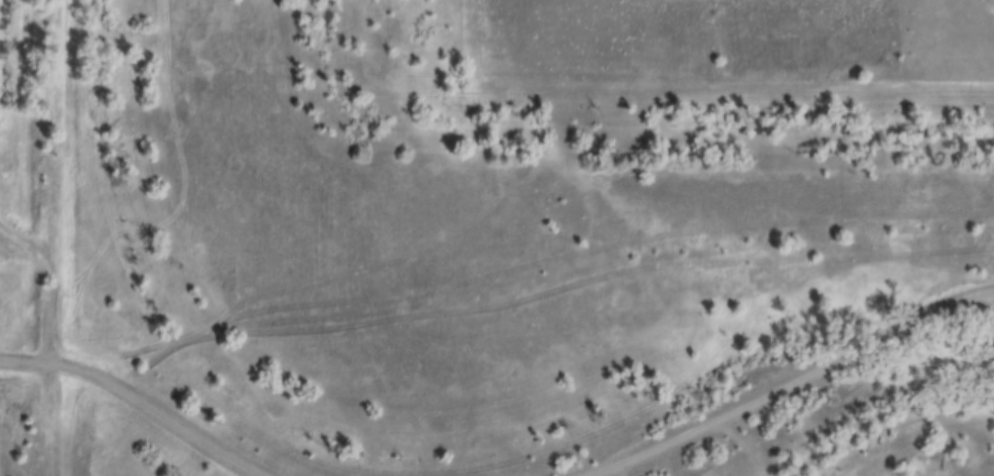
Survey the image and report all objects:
road: (815, 394)
road: (149, 413)
road: (76, 416)

